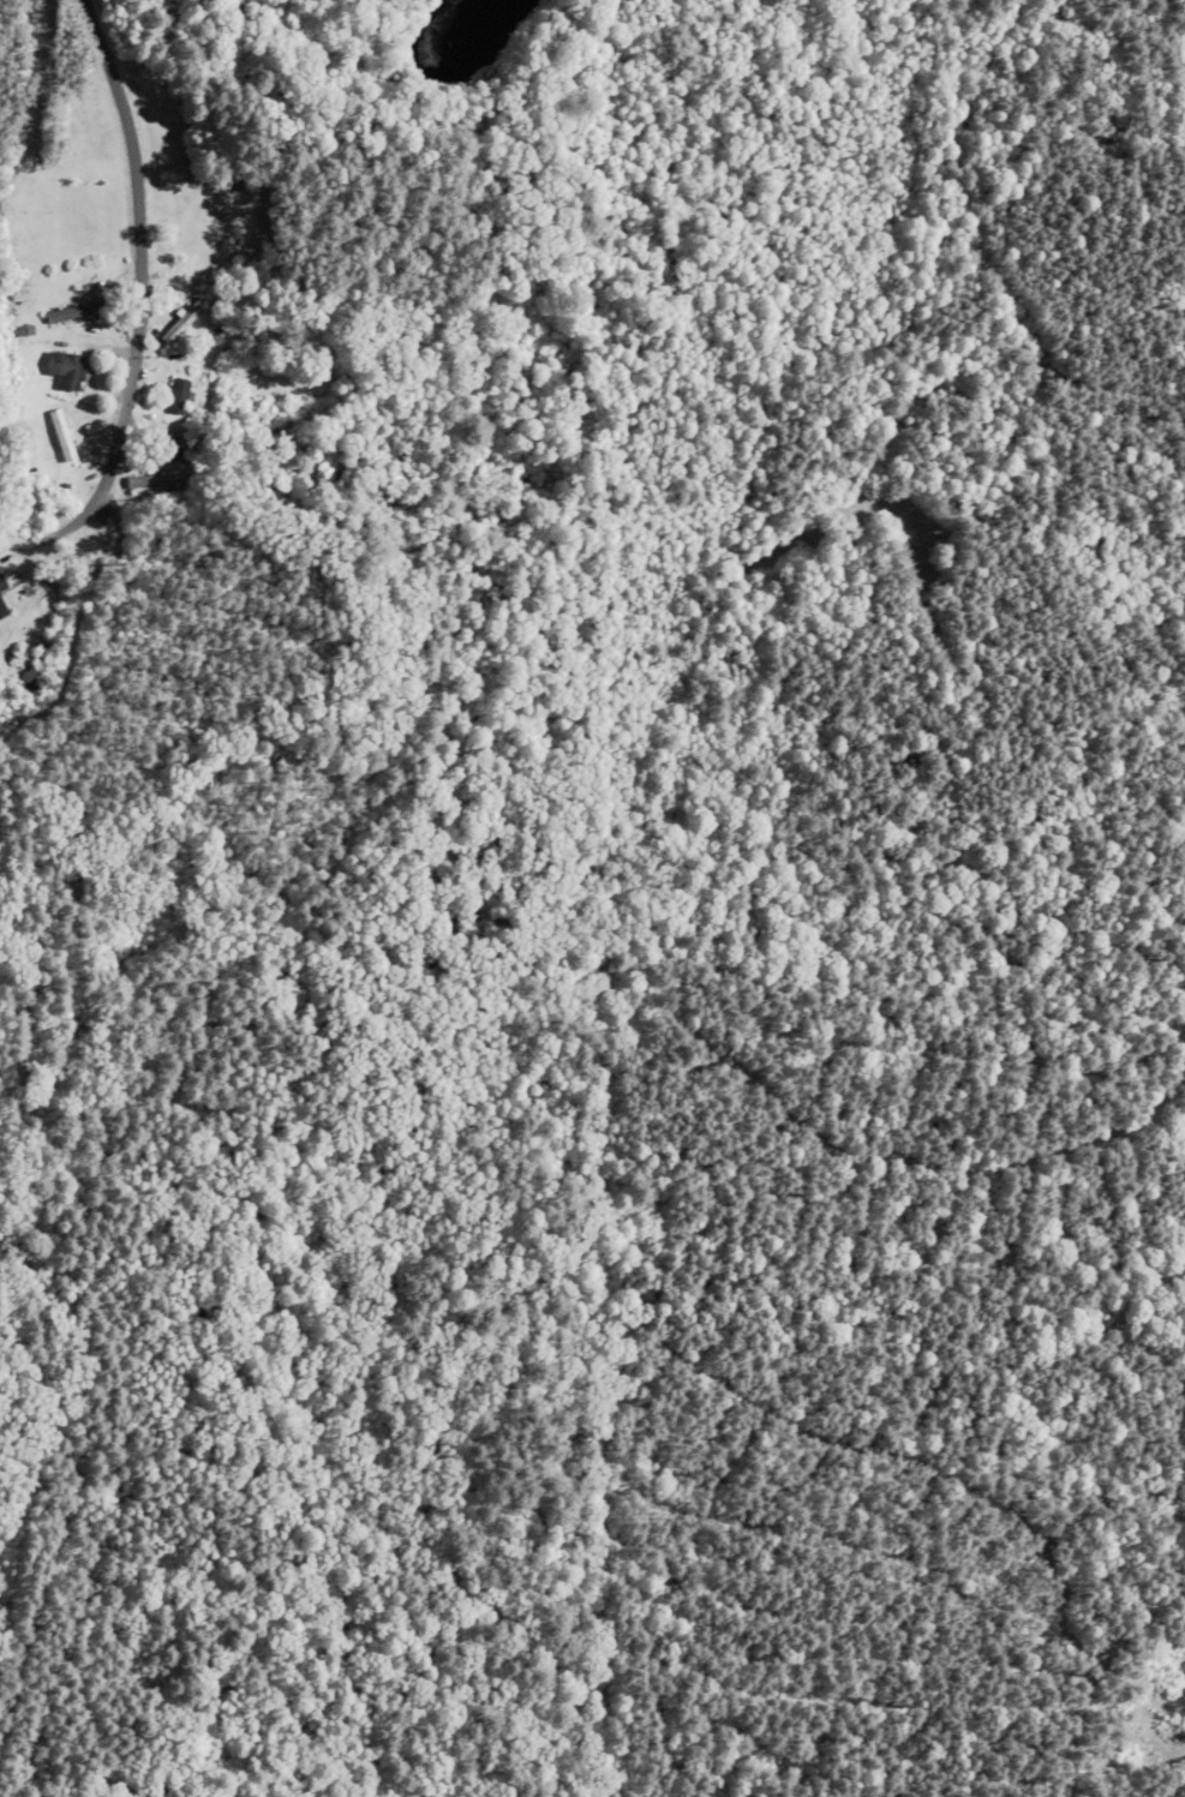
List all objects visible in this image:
road: (114, 277)
building: (182, 323)
building: (71, 370)
building: (64, 436)
building: (4, 605)

